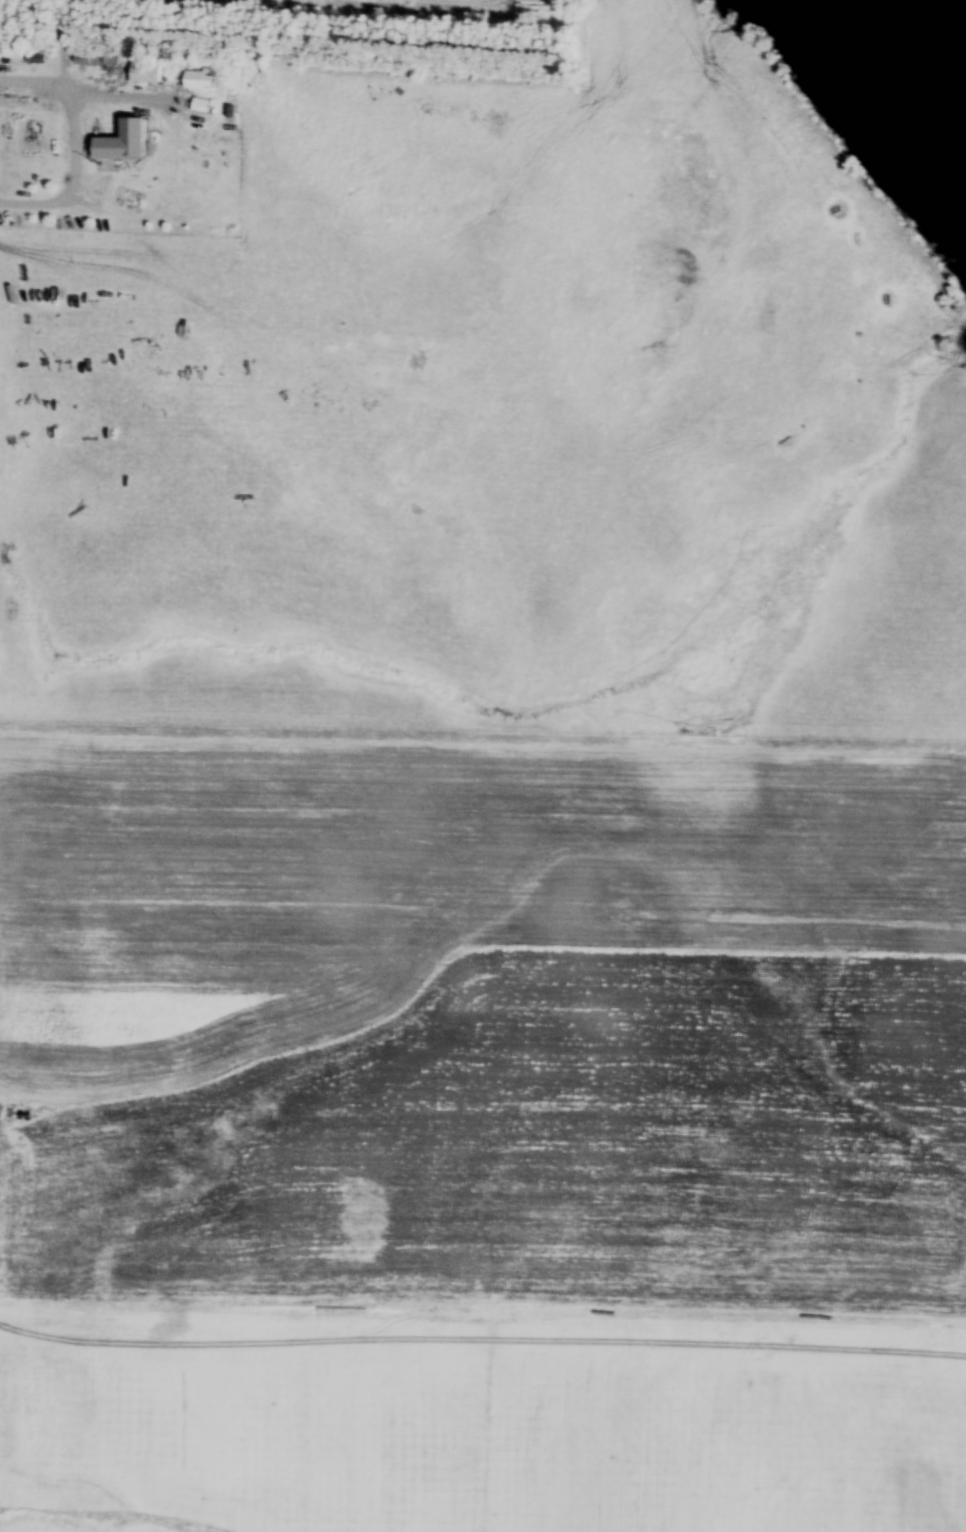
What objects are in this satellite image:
building: (27, 61)
building: (199, 82)
building: (121, 145)
road: (482, 1319)

